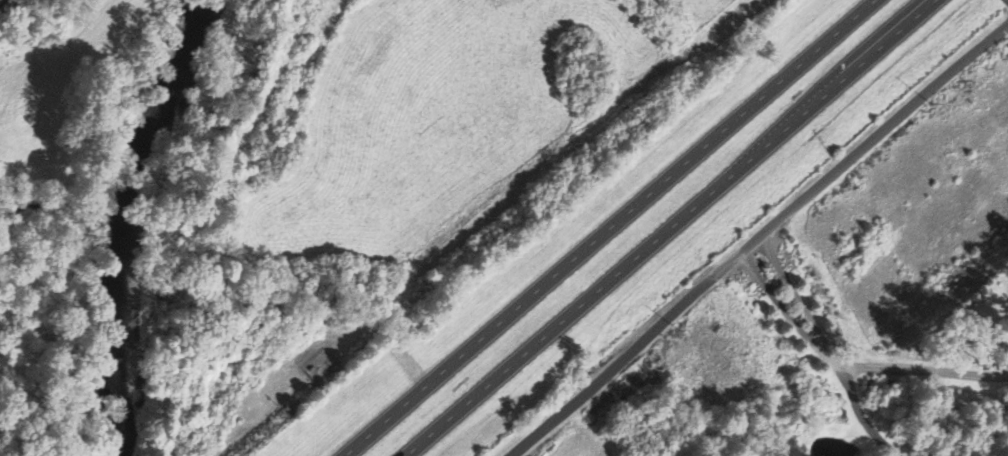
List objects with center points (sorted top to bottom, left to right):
power tower: (931, 100)
road: (860, 150)
river: (141, 216)
road: (606, 227)
road: (665, 228)
road: (771, 254)
road: (752, 270)
road: (806, 311)
road: (793, 321)
power tower: (678, 329)
road: (832, 358)
road: (609, 365)
road: (925, 368)
road: (843, 377)
road: (856, 405)
road: (879, 438)

